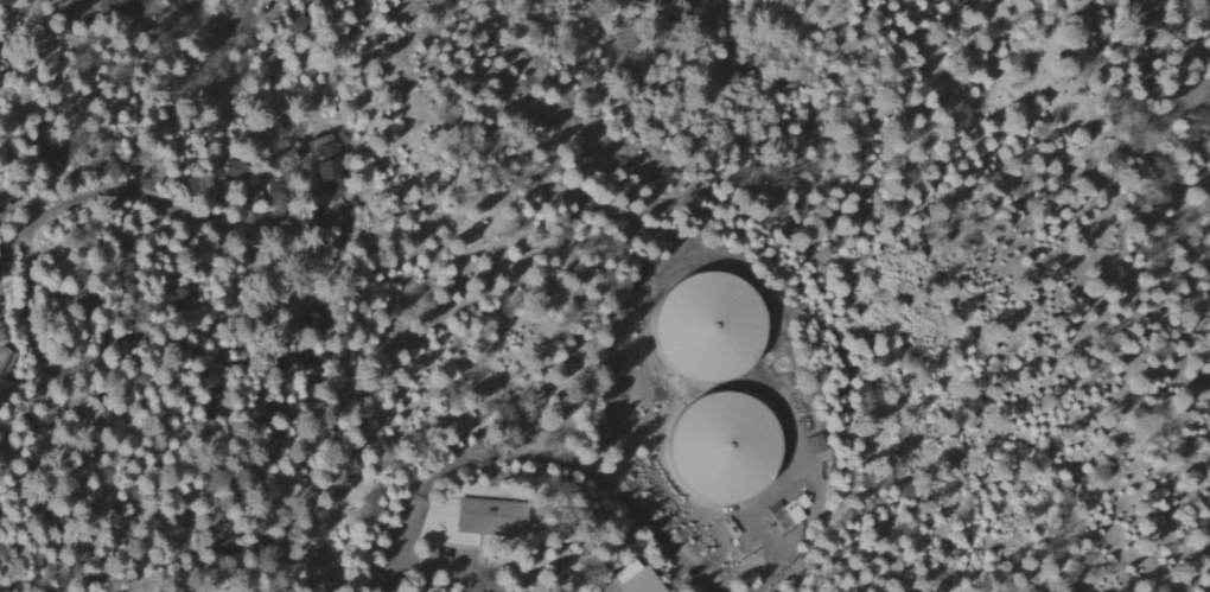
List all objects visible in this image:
building: (316, 1)
building: (113, 7)
road: (224, 19)
road: (510, 144)
building: (319, 154)
road: (157, 200)
building: (81, 301)
building: (699, 327)
road: (108, 346)
road: (802, 402)
building: (813, 445)
building: (713, 447)
road: (540, 464)
building: (785, 514)
building: (484, 518)
building: (633, 578)

